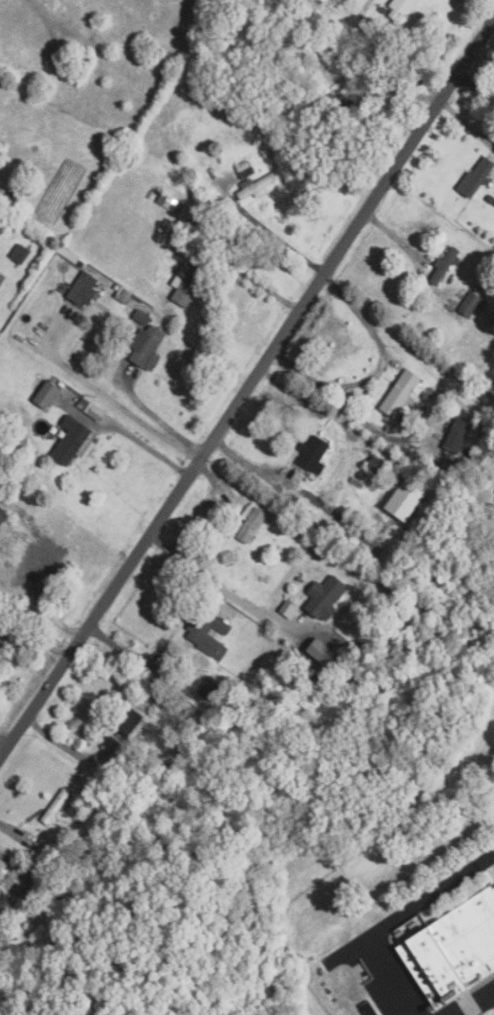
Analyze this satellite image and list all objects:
building: (346, 0)
building: (402, 8)
road: (476, 11)
road: (381, 59)
building: (493, 154)
building: (476, 177)
building: (254, 187)
building: (19, 253)
building: (444, 265)
road: (250, 279)
building: (186, 285)
building: (83, 289)
building: (470, 304)
building: (146, 347)
road: (376, 371)
road: (248, 387)
road: (95, 389)
building: (46, 394)
building: (400, 394)
road: (355, 417)
road: (155, 419)
building: (458, 431)
building: (70, 440)
building: (313, 457)
building: (2, 515)
building: (250, 527)
road: (216, 585)
building: (324, 597)
building: (209, 635)
road: (33, 637)
building: (0, 639)
building: (207, 686)
building: (131, 720)
road: (3, 745)
road: (486, 858)
building: (4, 902)
road: (386, 924)
building: (454, 946)
road: (473, 1001)

